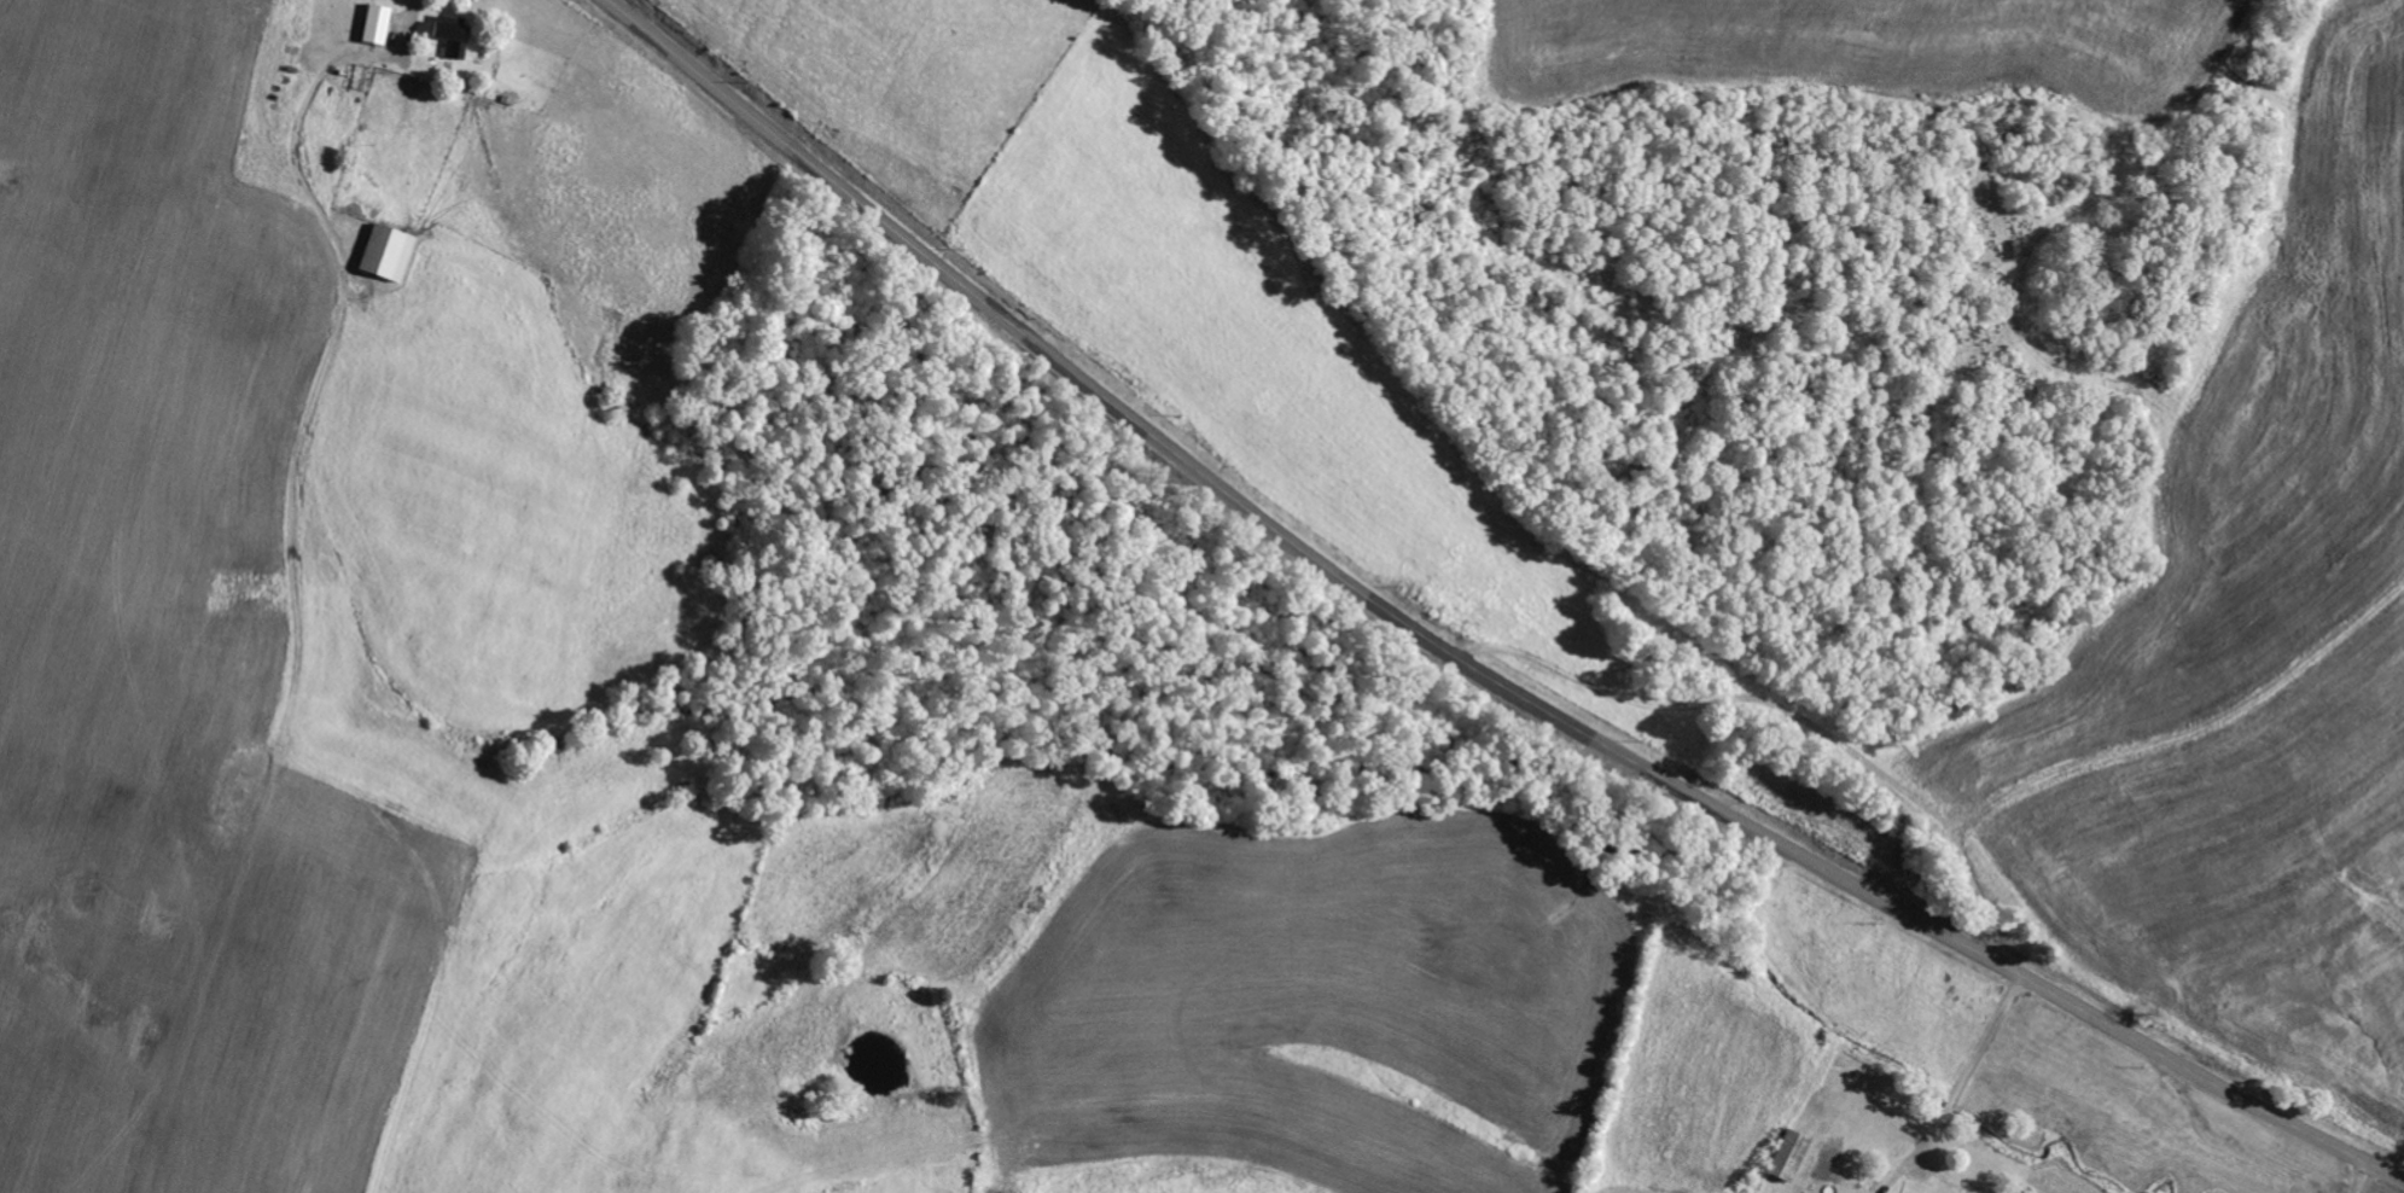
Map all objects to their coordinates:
building: (383, 23)
road: (403, 27)
building: (458, 35)
building: (392, 251)
road: (1460, 659)
road: (1901, 749)
building: (1794, 1156)
building: (2019, 1191)

